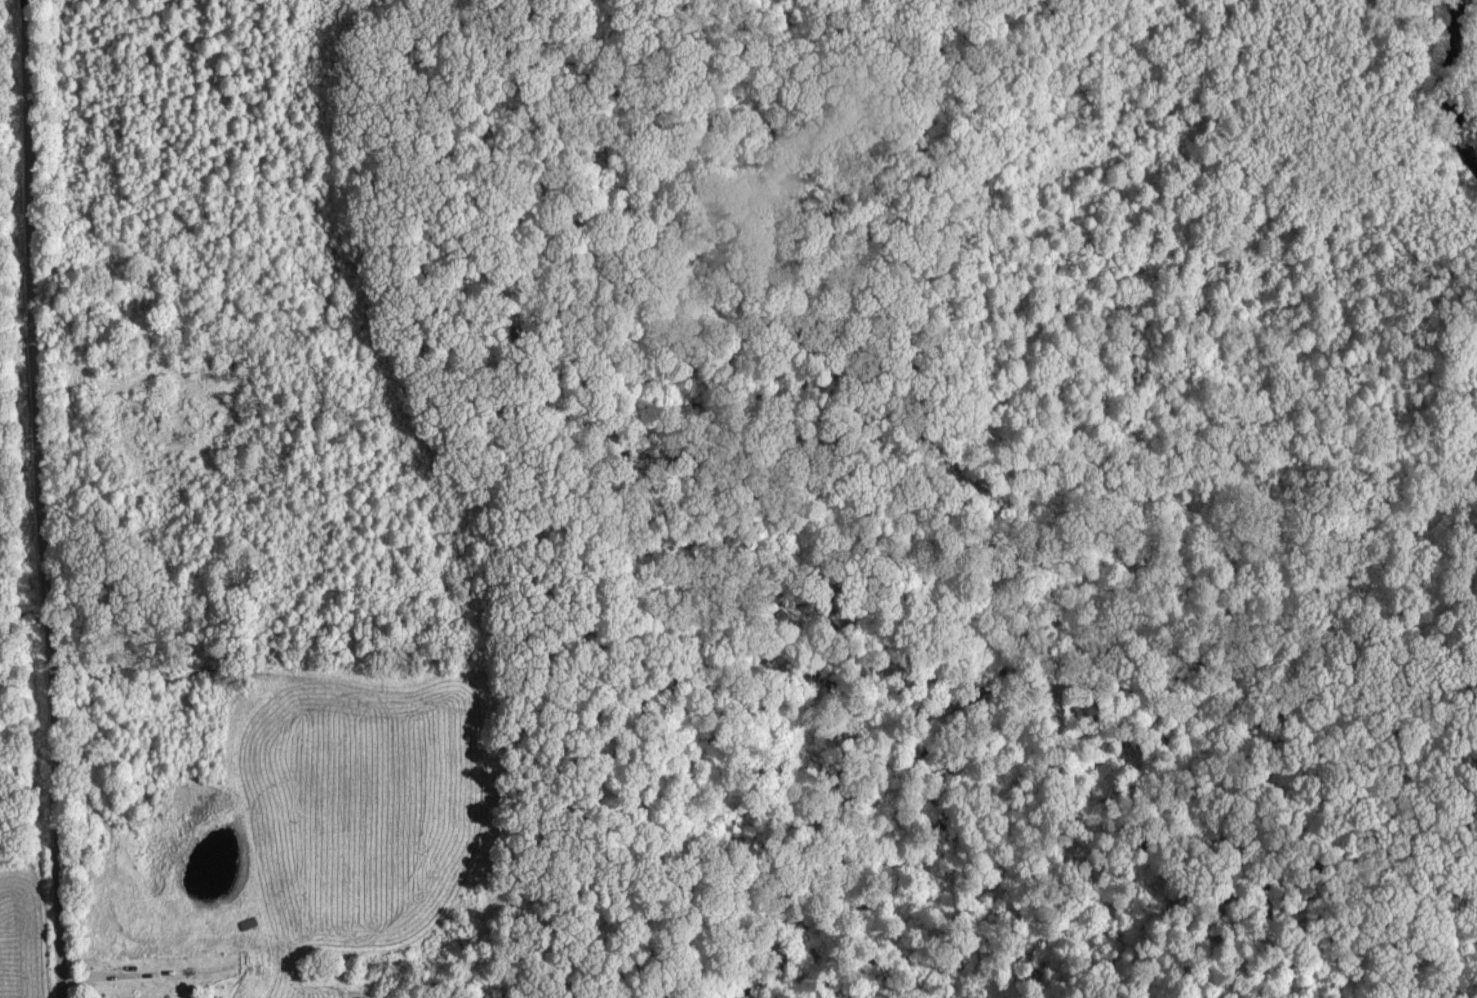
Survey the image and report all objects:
road: (39, 499)
building: (197, 993)

